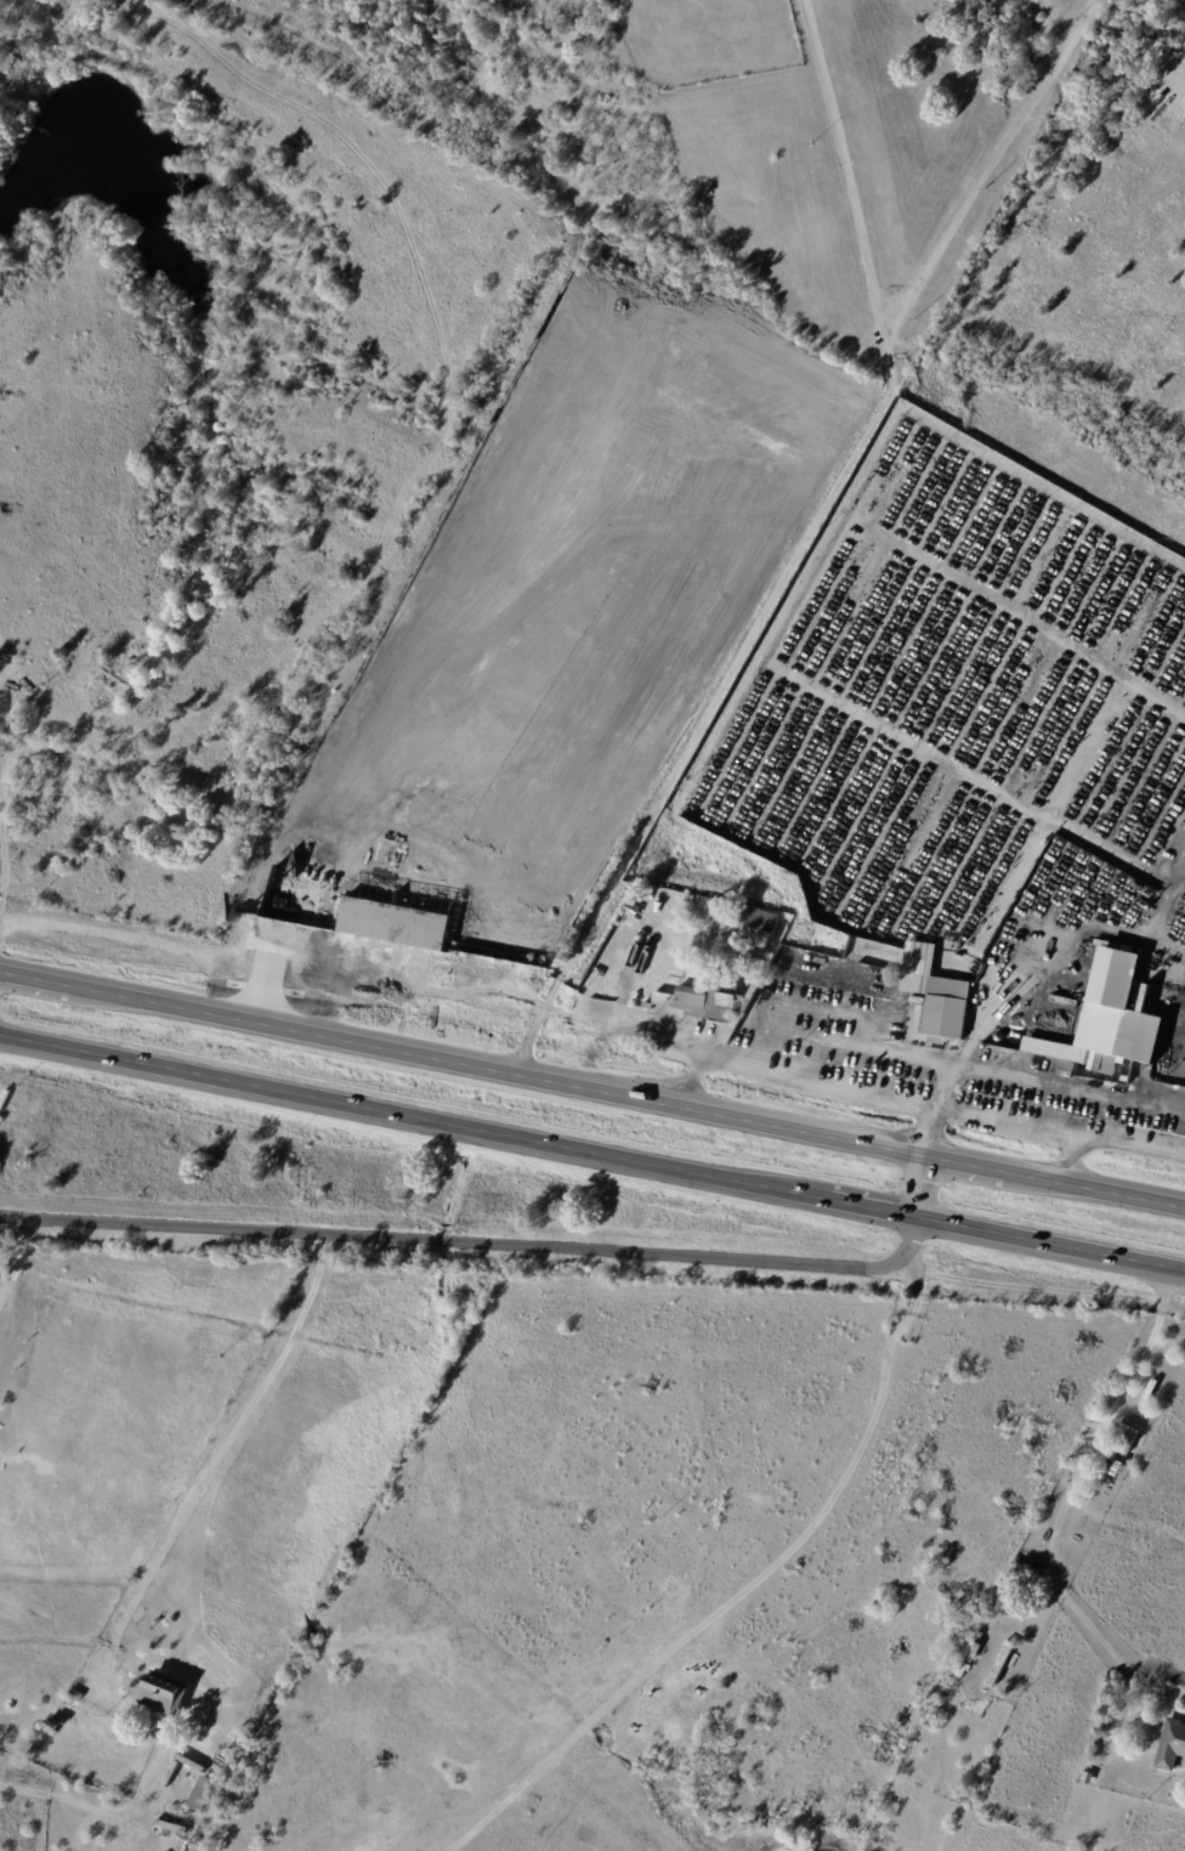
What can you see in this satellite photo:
road: (847, 162)
road: (991, 162)
building: (665, 429)
building: (650, 454)
building: (656, 472)
road: (715, 701)
road: (441, 718)
building: (335, 851)
building: (403, 853)
building: (285, 896)
building: (635, 910)
building: (403, 915)
building: (760, 925)
building: (501, 955)
road: (200, 962)
building: (936, 995)
building: (703, 1000)
road: (318, 1002)
building: (1127, 1017)
road: (625, 1029)
building: (1068, 1037)
road: (982, 1068)
road: (792, 1081)
building: (1128, 1081)
road: (592, 1087)
road: (935, 1106)
road: (591, 1153)
road: (508, 1246)
road: (18, 1264)
building: (1127, 1438)
road: (214, 1466)
building: (1118, 1466)
road: (1077, 1474)
road: (742, 1591)
building: (1005, 1603)
building: (981, 1636)
building: (976, 1651)
building: (1003, 1663)
building: (964, 1670)
building: (50, 1676)
building: (165, 1694)
building: (78, 1696)
building: (1173, 1745)
building: (1087, 1777)
building: (204, 1794)

